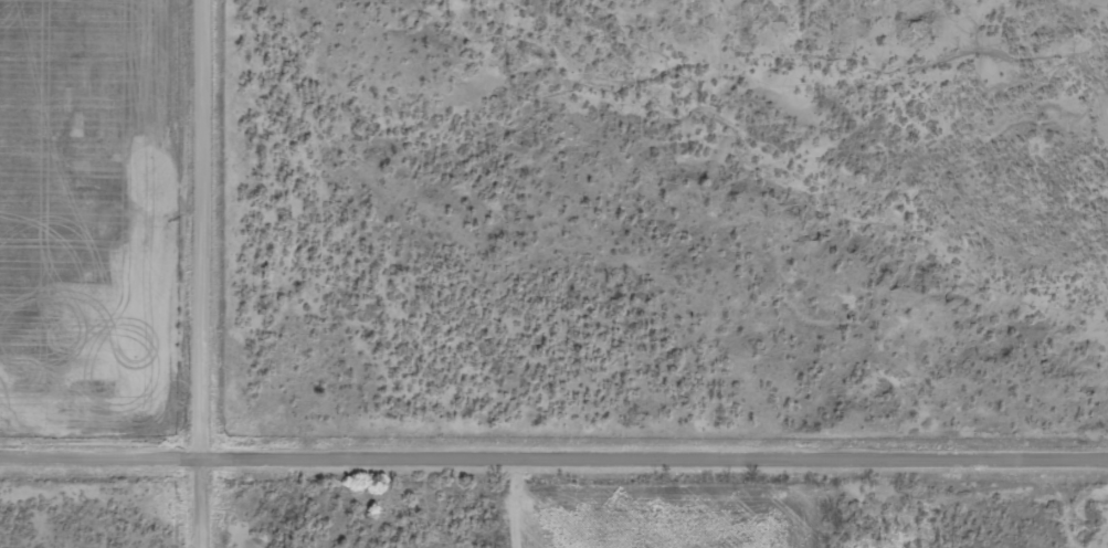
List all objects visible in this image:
road: (209, 274)
road: (553, 460)

